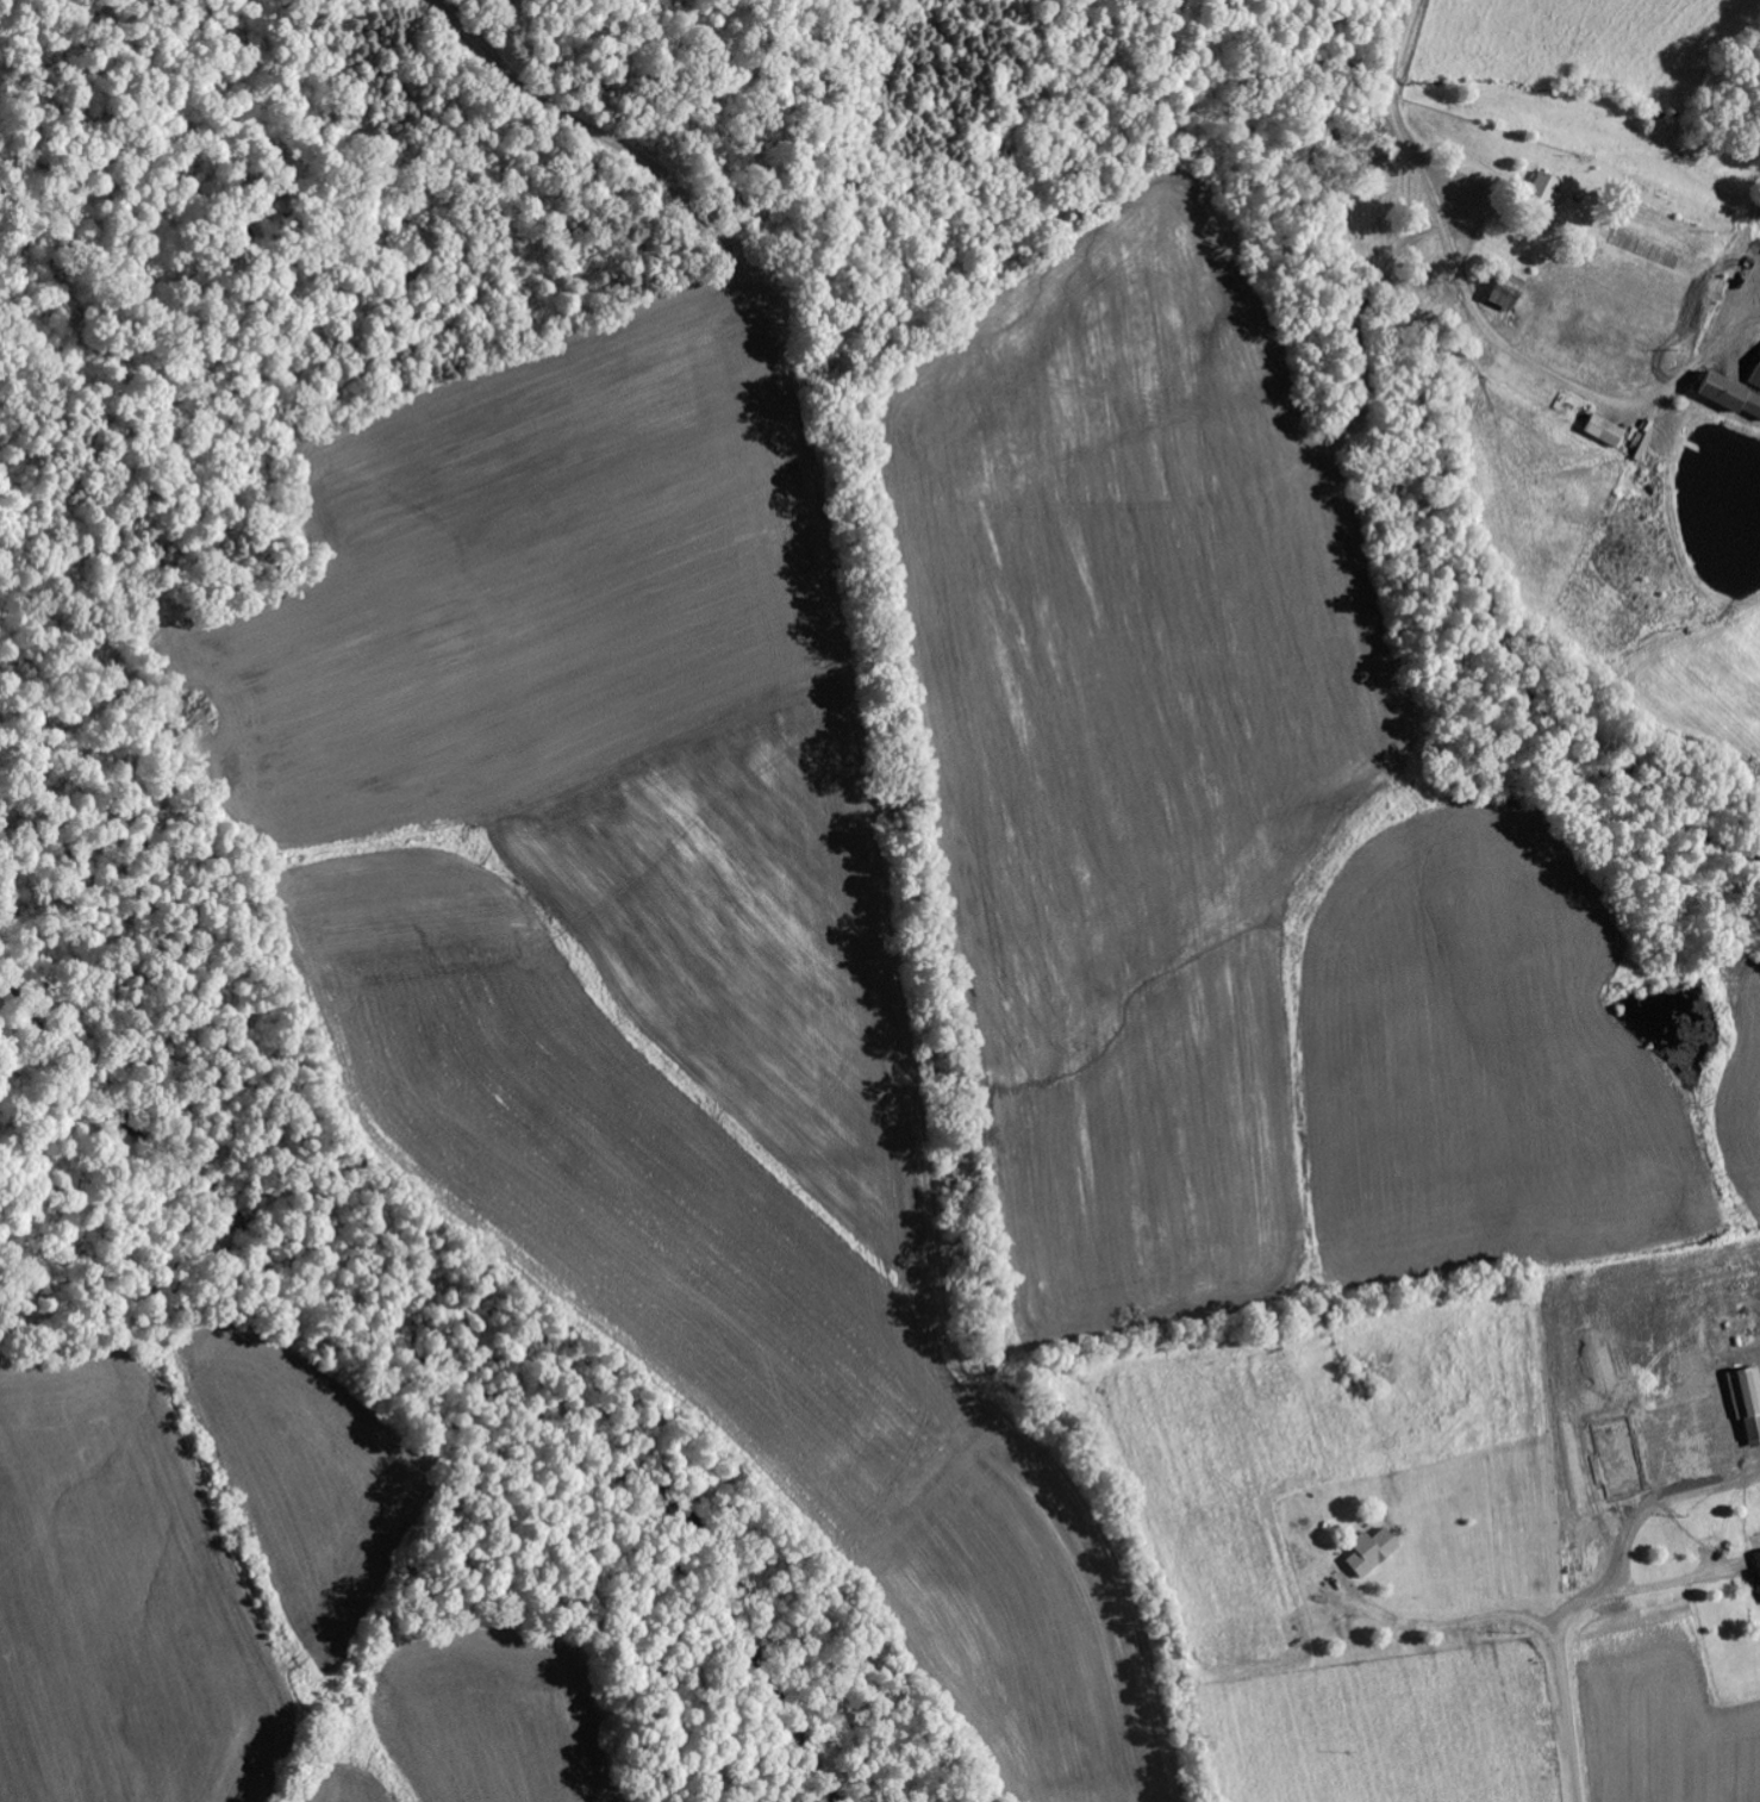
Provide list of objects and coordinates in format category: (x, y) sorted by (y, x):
road: (1394, 100)
building: (1543, 193)
building: (1505, 294)
building: (1754, 385)
building: (1730, 397)
building: (1605, 431)
building: (1747, 1402)
building: (1372, 1553)
building: (1758, 1561)
building: (1756, 1586)
road: (1568, 1717)

